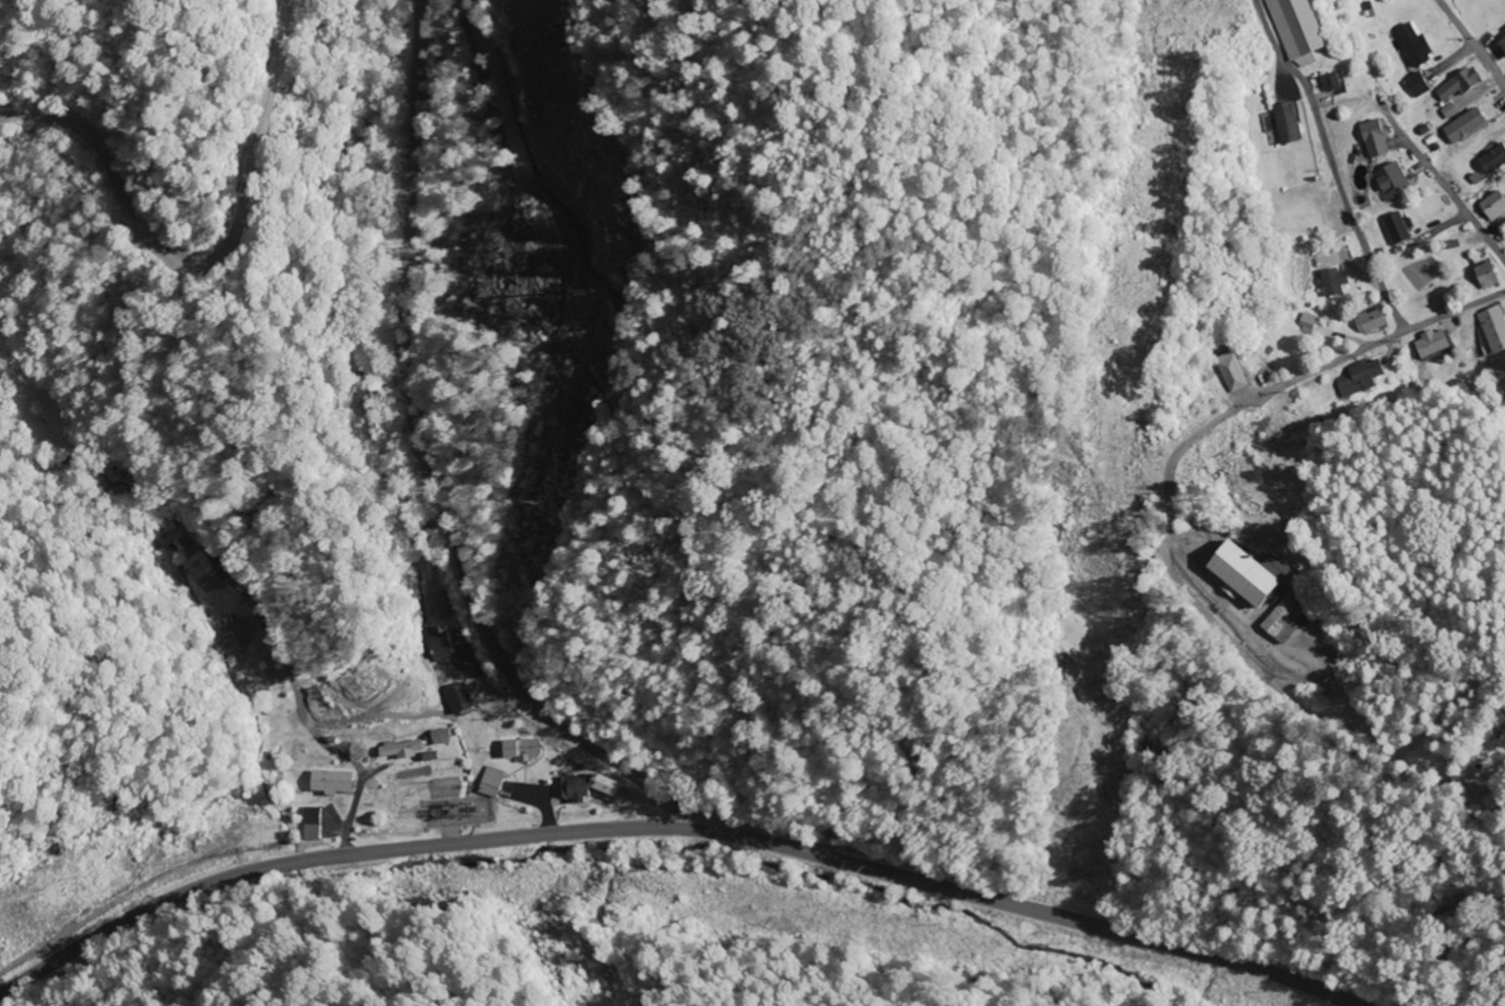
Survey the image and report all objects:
road: (1471, 43)
road: (1331, 164)
road: (1443, 181)
road: (209, 256)
road: (402, 337)
road: (1167, 537)
road: (306, 720)
road: (1437, 723)
road: (591, 748)
building: (520, 750)
building: (491, 782)
building: (604, 789)
road: (675, 828)

